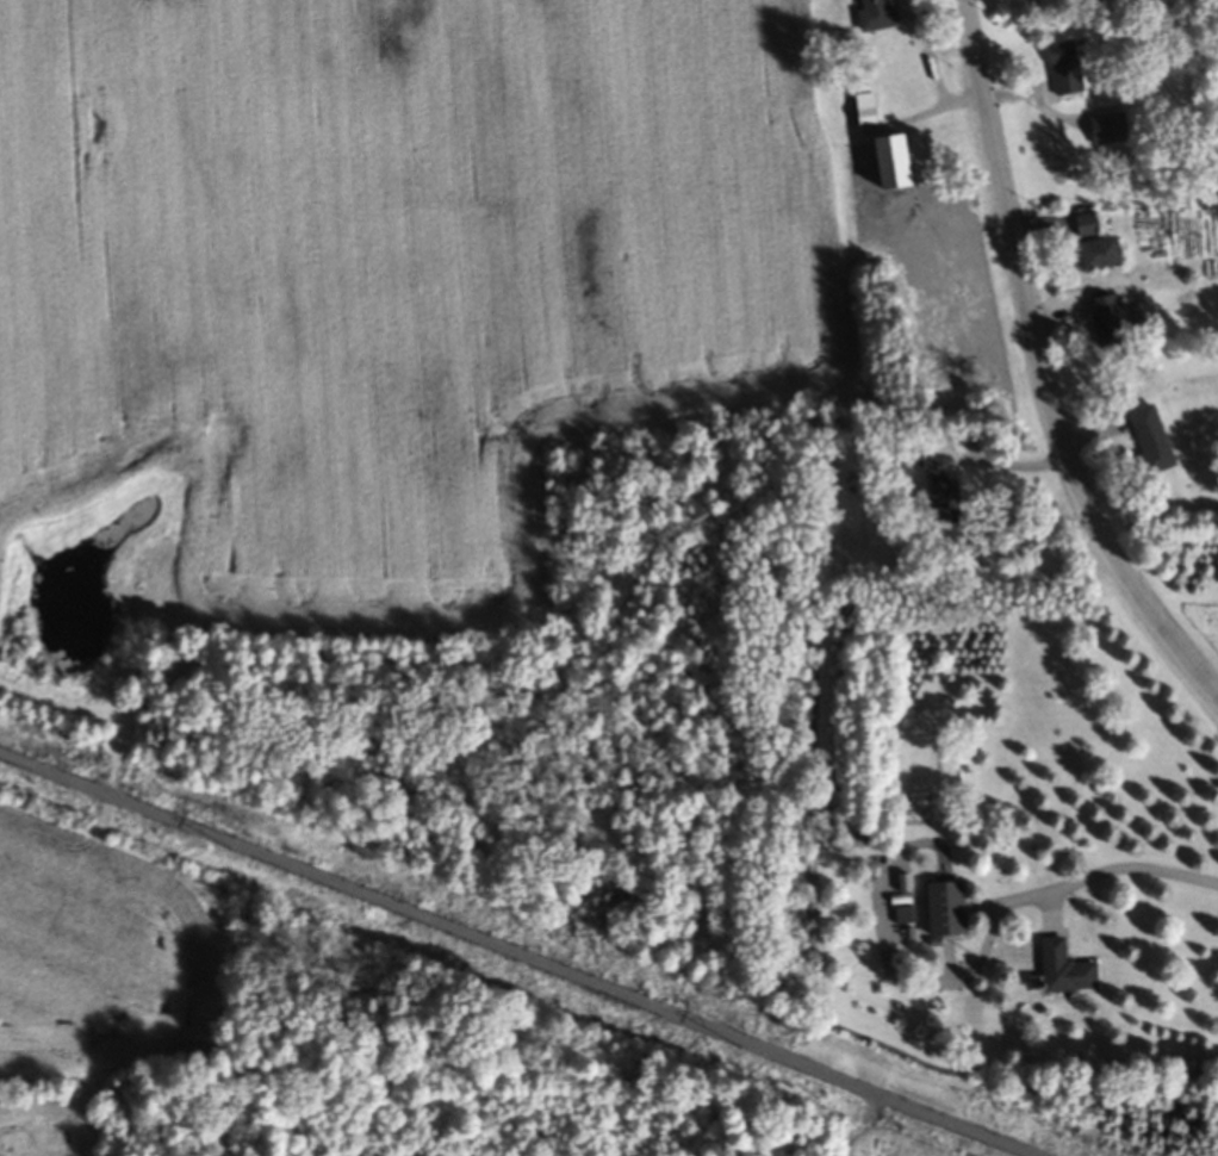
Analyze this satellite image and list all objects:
building: (877, 15)
building: (1064, 72)
building: (864, 113)
building: (889, 164)
building: (1088, 229)
building: (1100, 257)
building: (1106, 318)
road: (1043, 368)
building: (1151, 442)
building: (932, 470)
building: (944, 504)
power tower: (244, 850)
road: (1129, 866)
building: (946, 912)
road: (505, 959)
building: (1065, 972)
power tower: (752, 1048)

